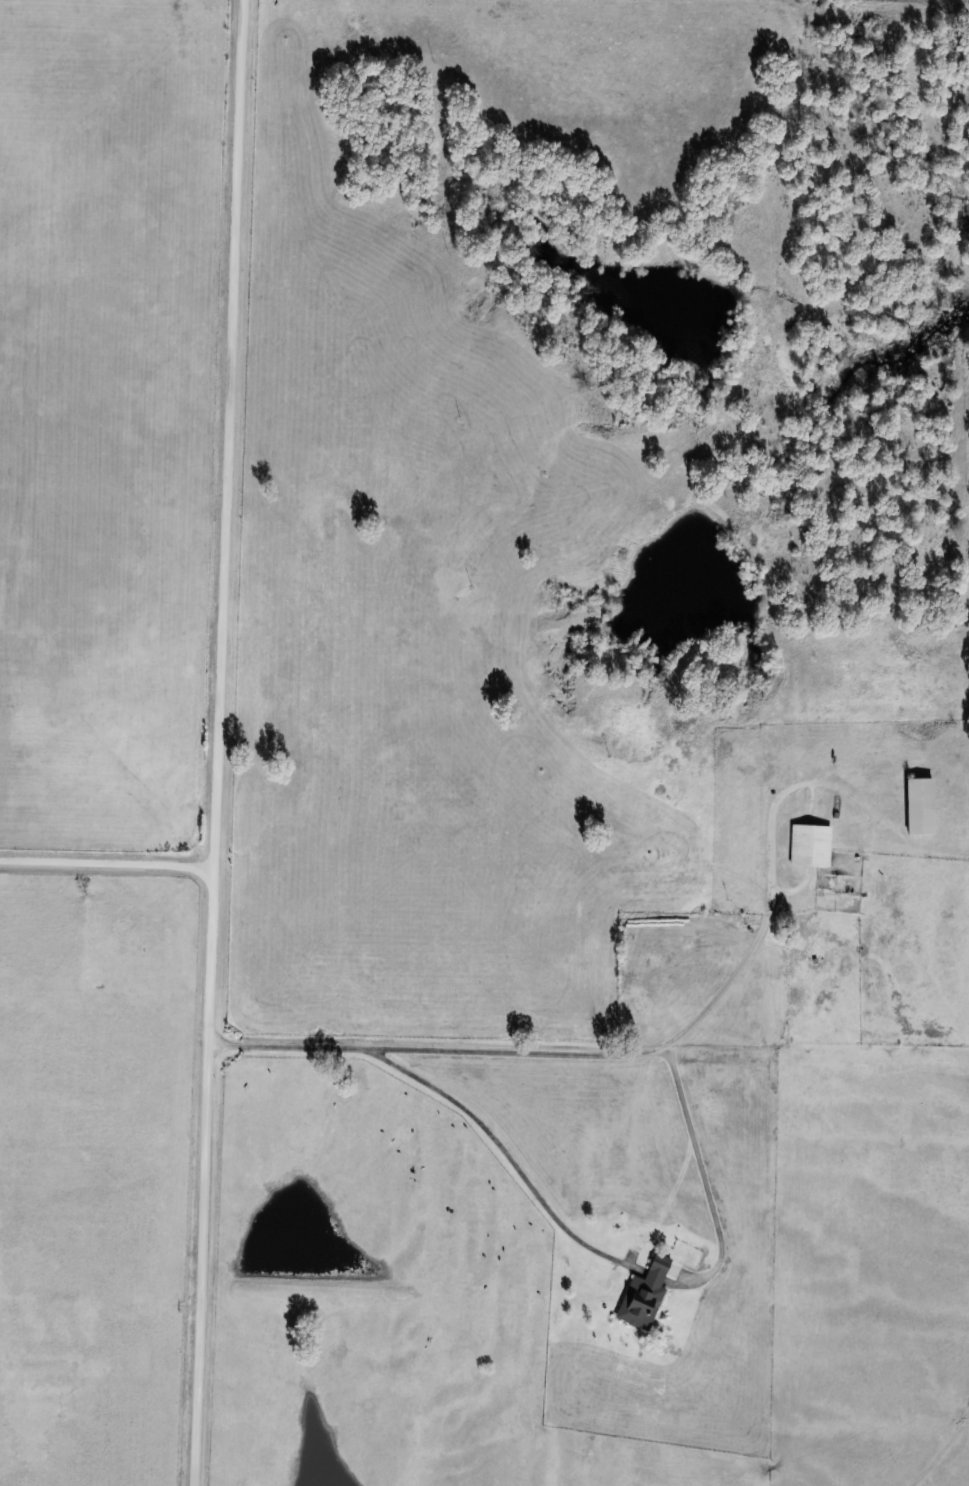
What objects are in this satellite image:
road: (219, 743)
building: (918, 806)
building: (809, 845)
road: (108, 858)
road: (518, 1054)
road: (499, 1148)
road: (705, 1170)
building: (642, 1296)

